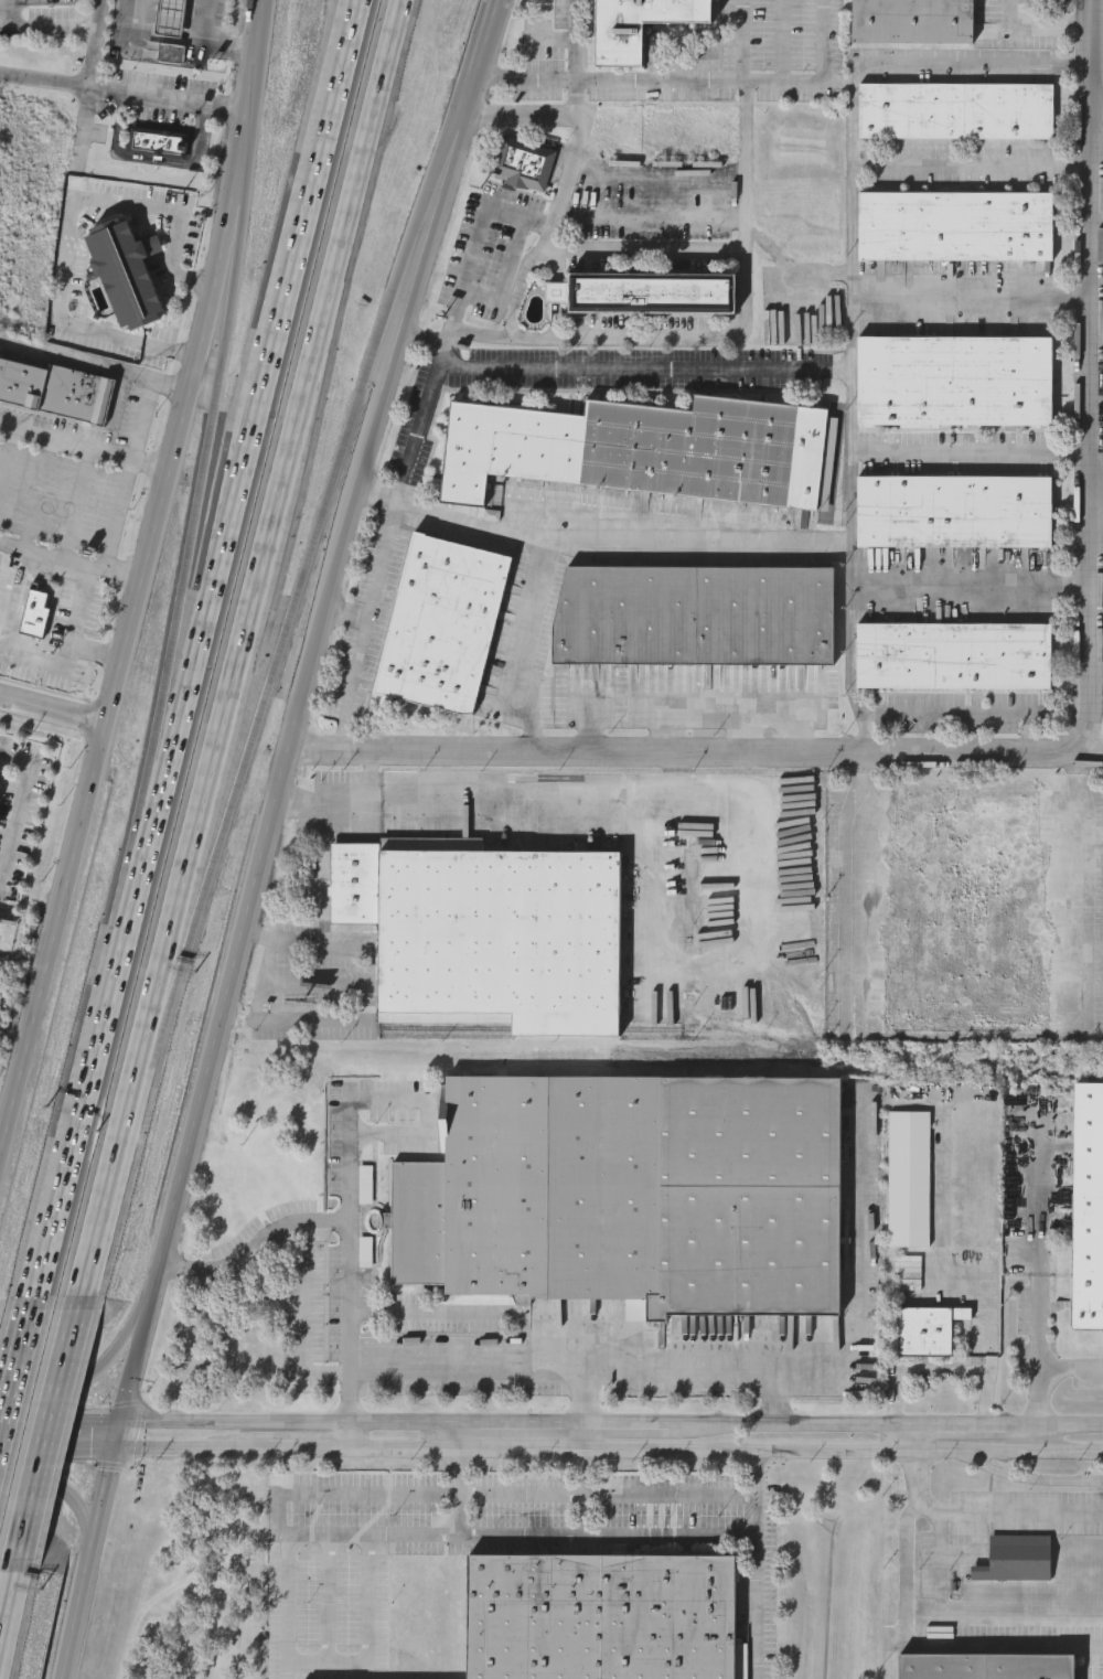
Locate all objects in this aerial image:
road: (495, 2)
gas station: (172, 19)
building: (170, 20)
building: (912, 23)
building: (641, 28)
road: (1040, 28)
road: (42, 31)
road: (150, 38)
road: (485, 40)
road: (577, 40)
road: (785, 41)
road: (1097, 41)
road: (95, 42)
road: (204, 43)
building: (172, 55)
road: (740, 81)
road: (122, 90)
road: (469, 96)
road: (574, 100)
road: (1097, 108)
building: (955, 114)
road: (83, 125)
building: (156, 146)
road: (156, 159)
building: (524, 165)
road: (974, 168)
road: (439, 169)
road: (656, 180)
road: (309, 204)
road: (489, 208)
road: (649, 221)
building: (955, 227)
road: (67, 228)
road: (644, 249)
road: (232, 254)
building: (127, 275)
road: (523, 277)
building: (646, 293)
road: (855, 296)
road: (972, 299)
road: (747, 314)
road: (643, 368)
road: (1089, 376)
building: (953, 383)
building: (57, 392)
road: (147, 398)
road: (382, 404)
road: (411, 436)
road: (84, 448)
road: (970, 450)
building: (645, 451)
road: (1095, 503)
building: (954, 513)
road: (194, 521)
road: (269, 527)
road: (695, 546)
road: (71, 558)
road: (540, 576)
road: (375, 578)
road: (141, 579)
road: (970, 580)
road: (299, 589)
building: (34, 617)
building: (694, 618)
road: (203, 624)
building: (441, 627)
road: (73, 650)
building: (953, 654)
road: (96, 656)
road: (1094, 680)
road: (351, 686)
road: (730, 704)
road: (52, 708)
road: (962, 715)
road: (1089, 750)
road: (681, 756)
road: (152, 789)
road: (549, 799)
road: (347, 805)
road: (20, 809)
road: (1078, 879)
building: (965, 915)
building: (484, 933)
road: (263, 982)
road: (160, 1007)
railway: (531, 1029)
road: (90, 1073)
road: (382, 1101)
road: (105, 1181)
road: (178, 1183)
building: (630, 1197)
building: (1086, 1210)
road: (313, 1220)
road: (944, 1255)
road: (860, 1261)
road: (1039, 1263)
building: (908, 1275)
building: (927, 1333)
road: (300, 1339)
road: (496, 1357)
road: (681, 1359)
road: (1042, 1368)
road: (15, 1371)
road: (919, 1373)
road: (86, 1382)
road: (349, 1388)
road: (779, 1392)
road: (986, 1398)
road: (287, 1420)
road: (522, 1422)
road: (627, 1422)
road: (792, 1423)
road: (963, 1423)
road: (1056, 1424)
road: (42, 1433)
traffic signals: (117, 1434)
road: (349, 1434)
road: (458, 1435)
road: (585, 1435)
road: (917, 1436)
road: (1040, 1436)
road: (58, 1437)
road: (608, 1448)
road: (1031, 1478)
road: (585, 1489)
road: (759, 1490)
road: (346, 1494)
road: (521, 1494)
road: (672, 1494)
road: (57, 1496)
road: (984, 1512)
road: (373, 1530)
road: (568, 1530)
building: (1016, 1558)
road: (6, 1586)
road: (291, 1604)
road: (758, 1605)
building: (599, 1617)
road: (927, 1644)
road: (889, 1649)
road: (309, 1655)
road: (346, 1655)
building: (985, 1667)

